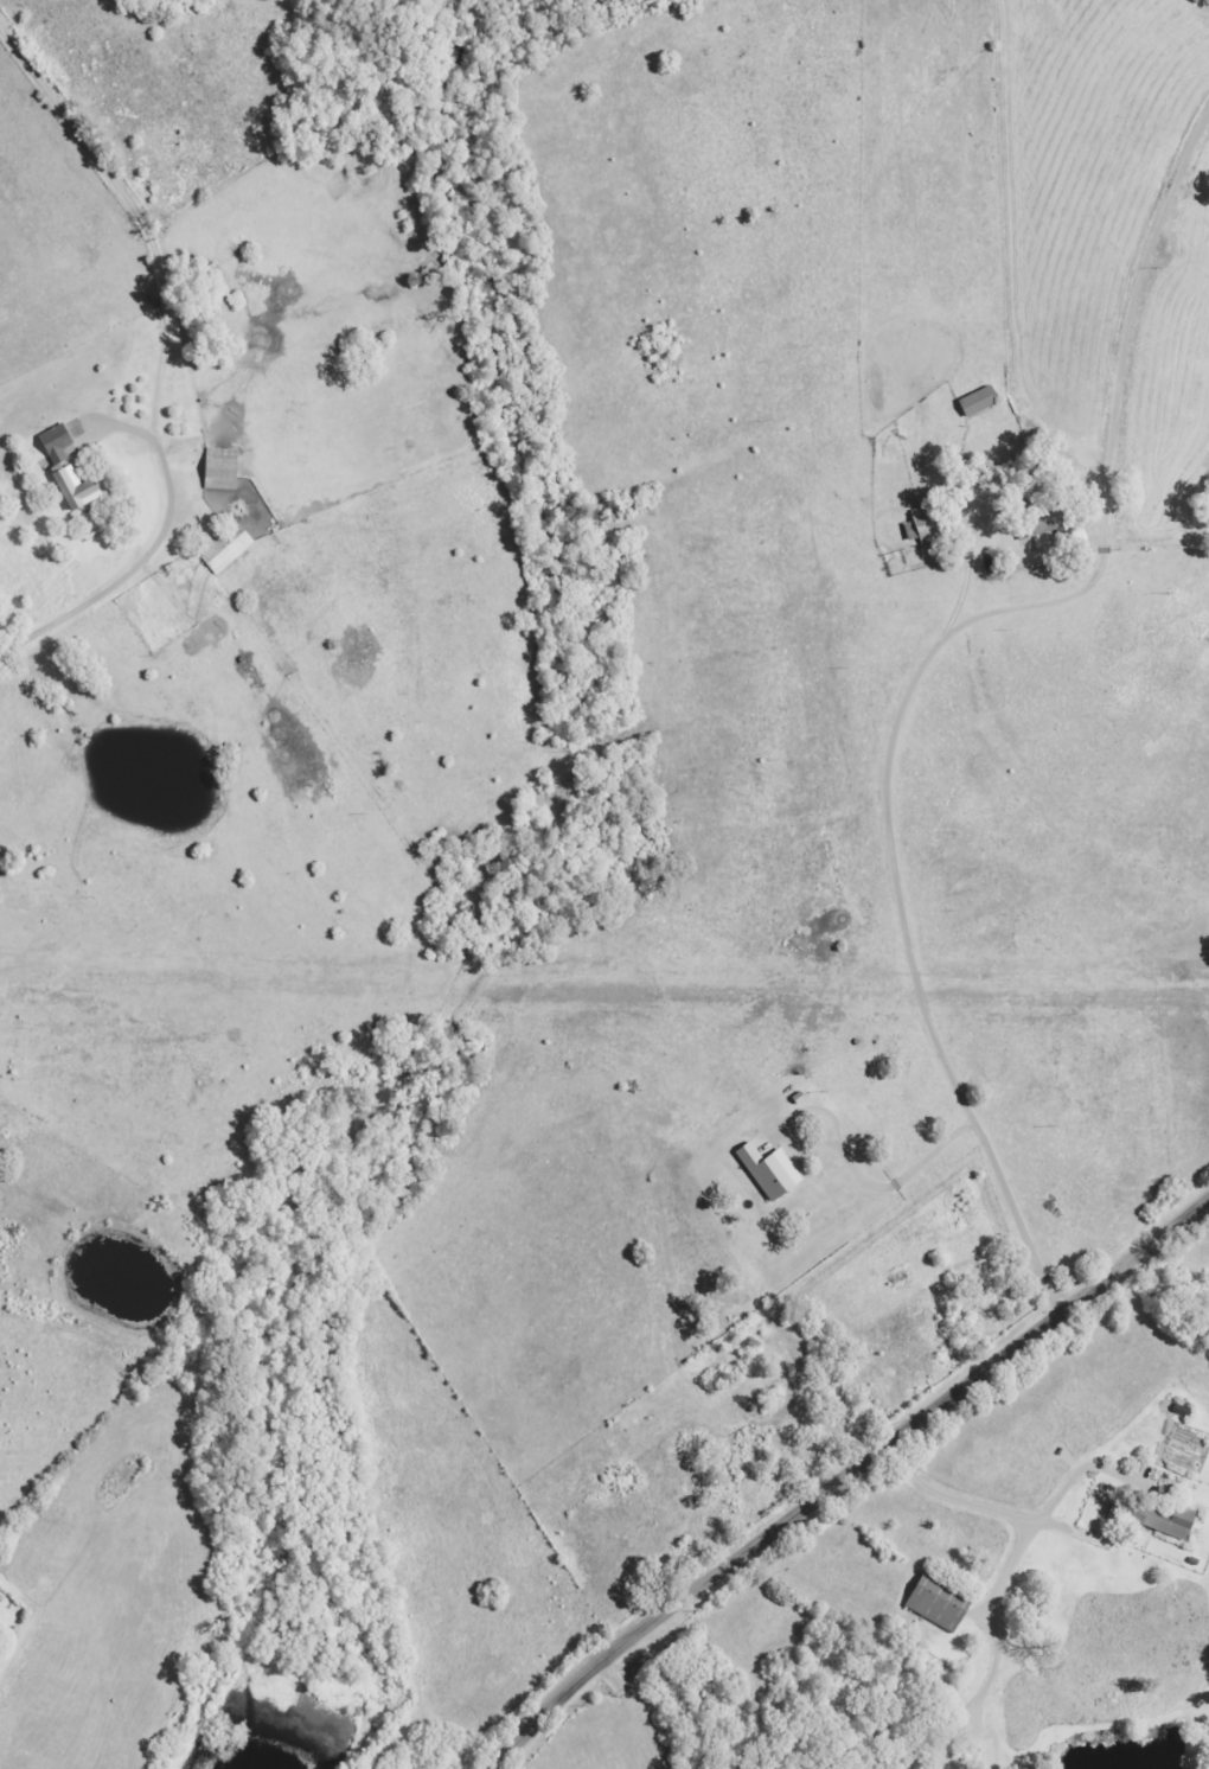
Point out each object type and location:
road: (194, 372)
building: (981, 401)
building: (69, 467)
building: (225, 468)
building: (1048, 522)
building: (929, 523)
building: (230, 547)
road: (888, 982)
building: (773, 1173)
road: (972, 1450)
road: (845, 1480)
building: (1158, 1518)
building: (936, 1602)
road: (913, 1611)
road: (639, 1712)

